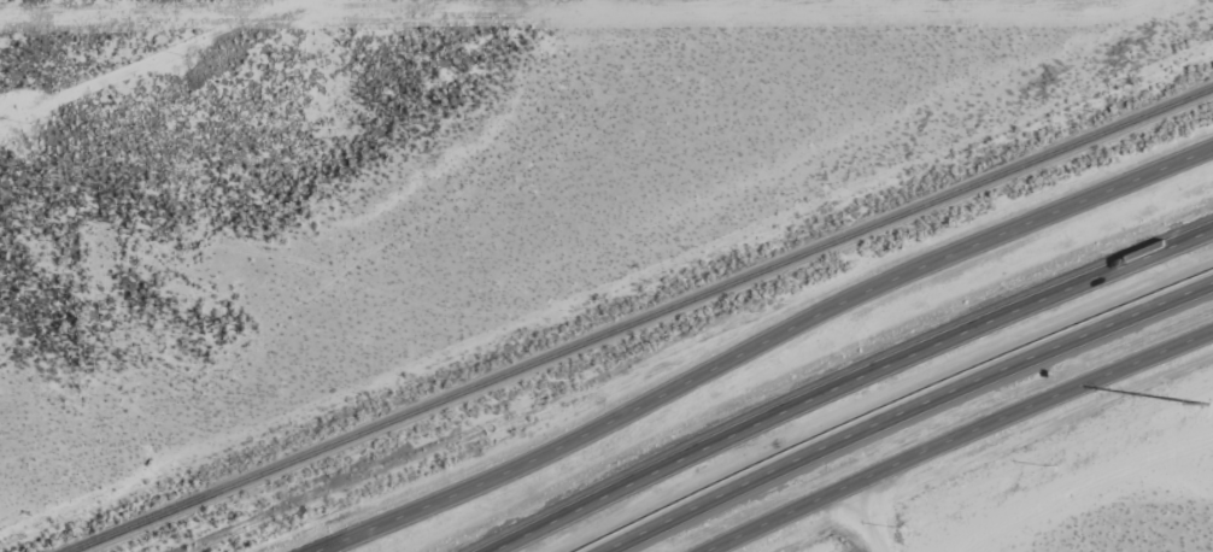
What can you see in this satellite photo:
road: (844, 296)
railway: (640, 321)
road: (846, 382)
road: (903, 410)
road: (983, 440)
road: (398, 515)

